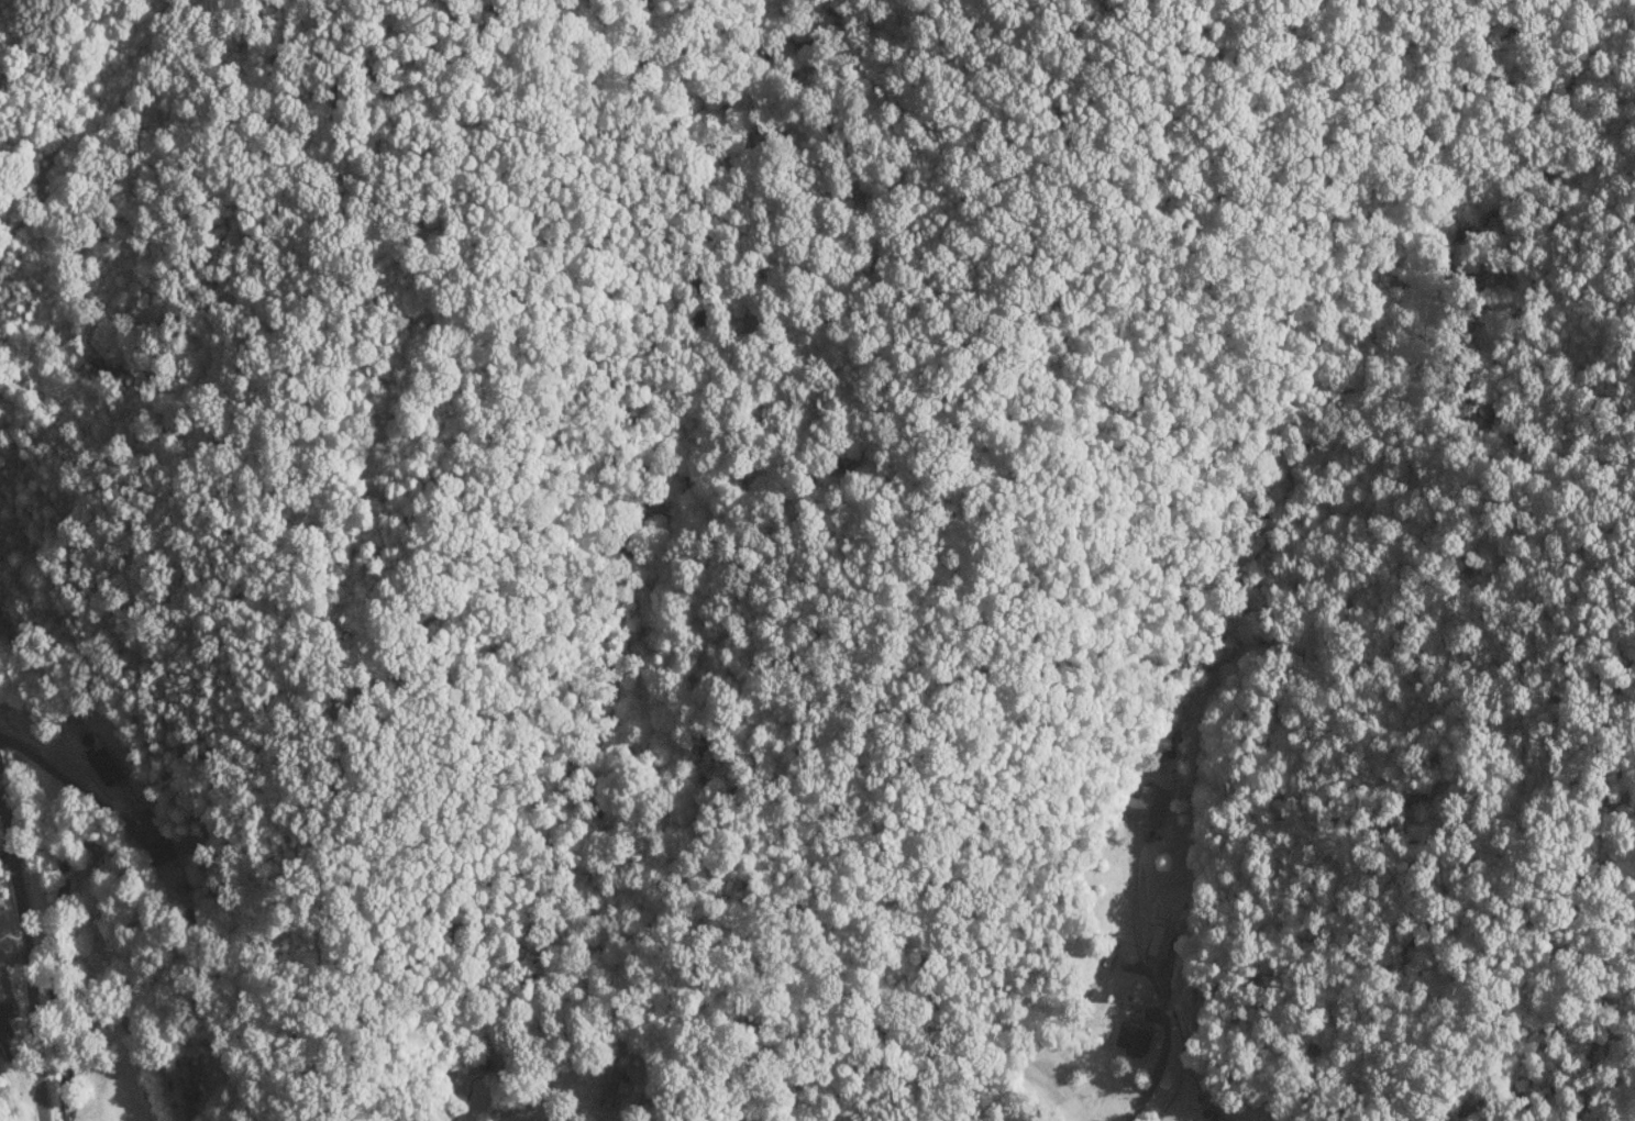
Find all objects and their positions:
building: (1139, 807)
building: (1155, 943)
building: (1126, 1036)
road: (13, 1046)
building: (614, 1094)
road: (576, 1116)

